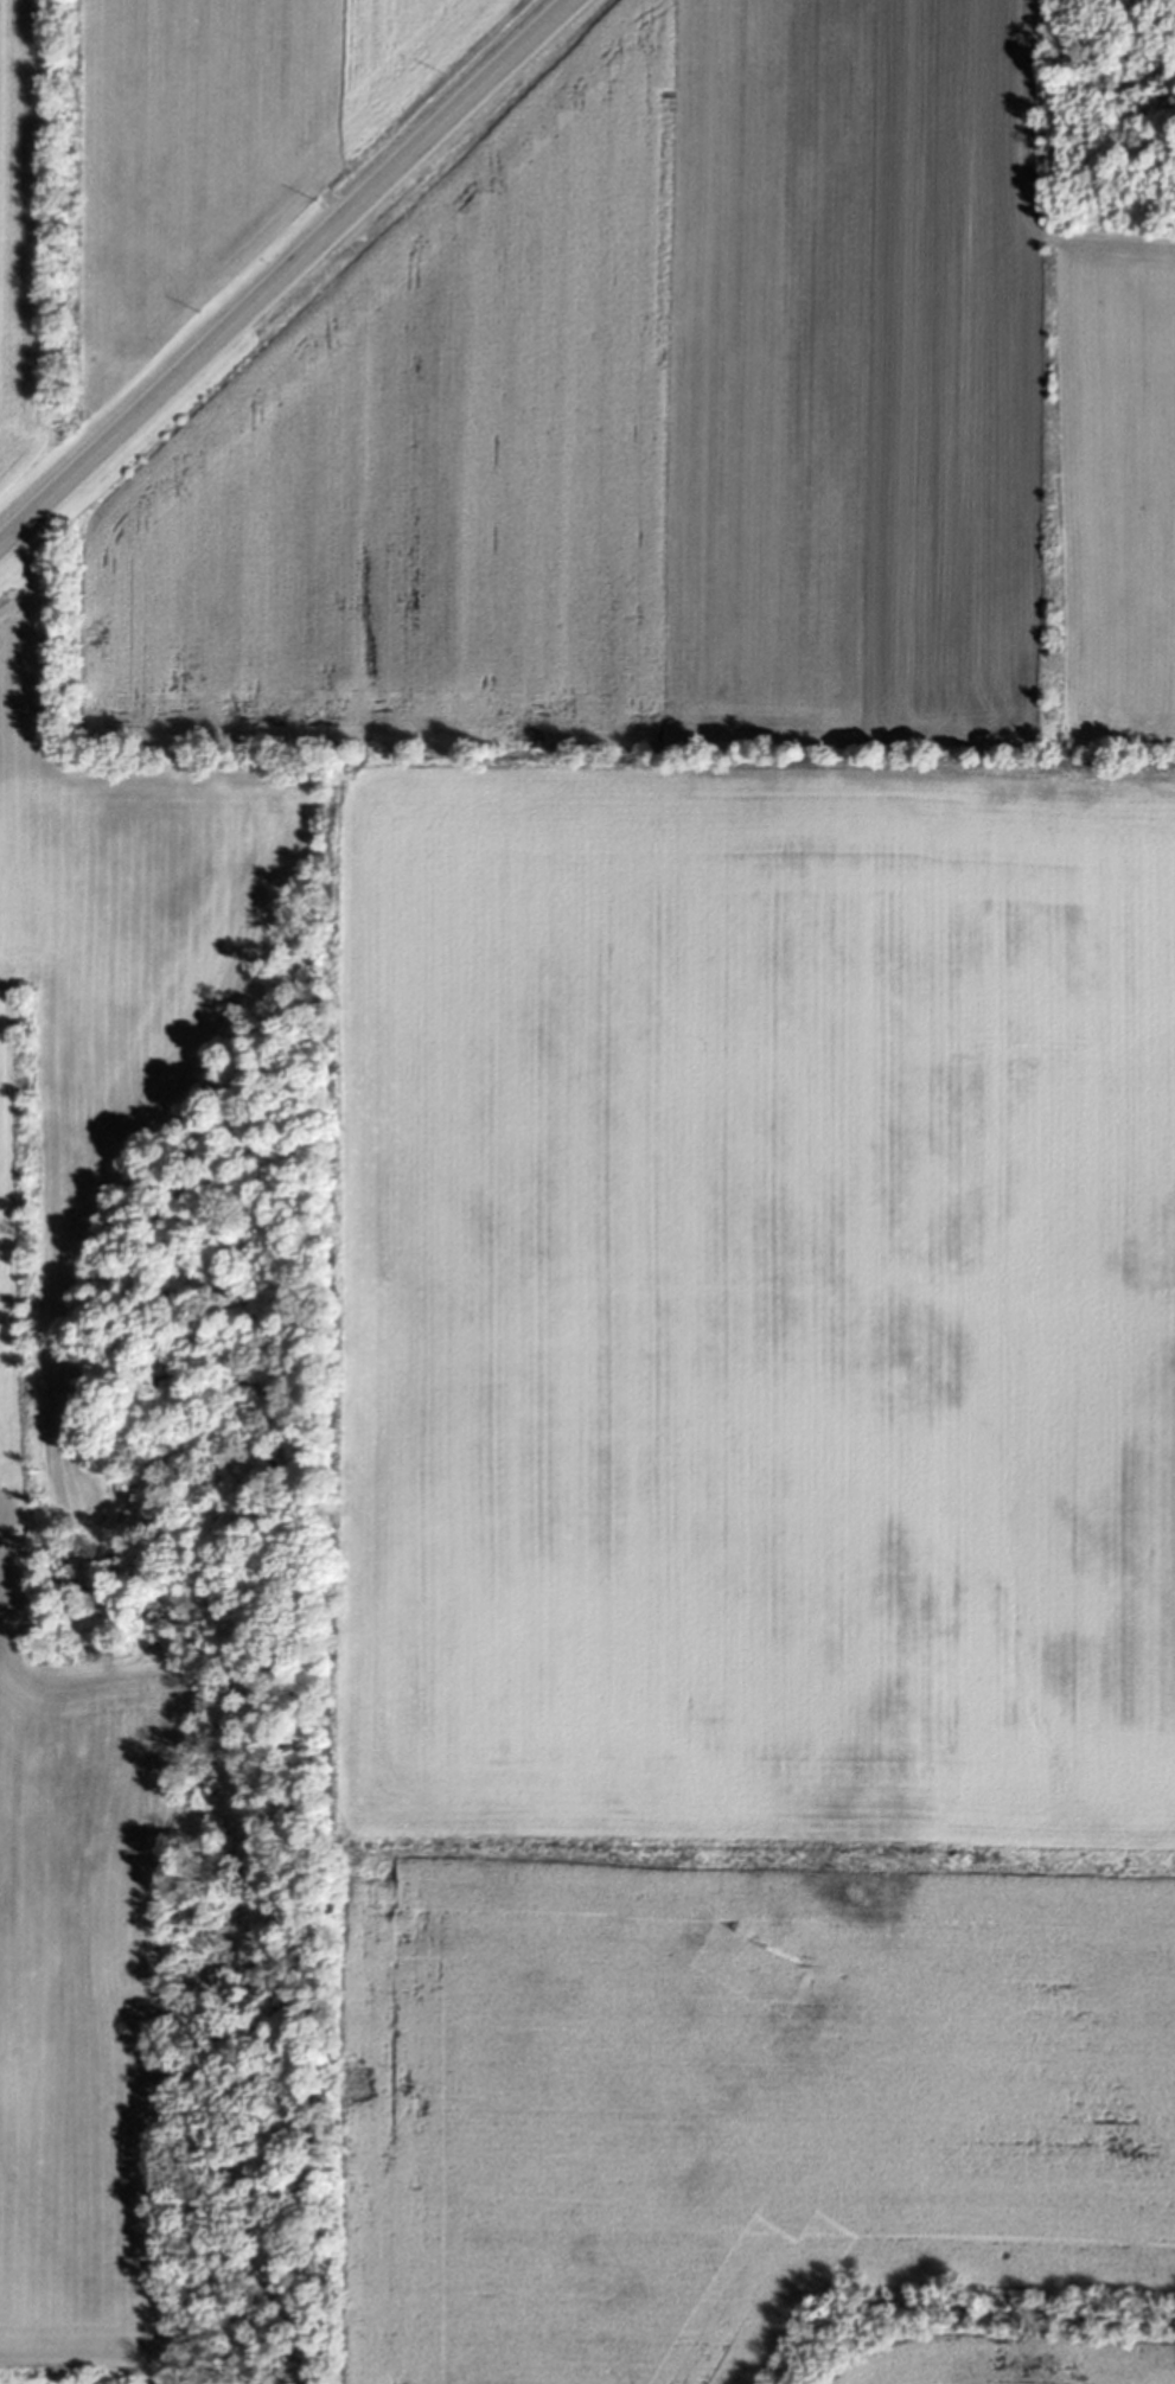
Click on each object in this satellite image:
road: (287, 273)

